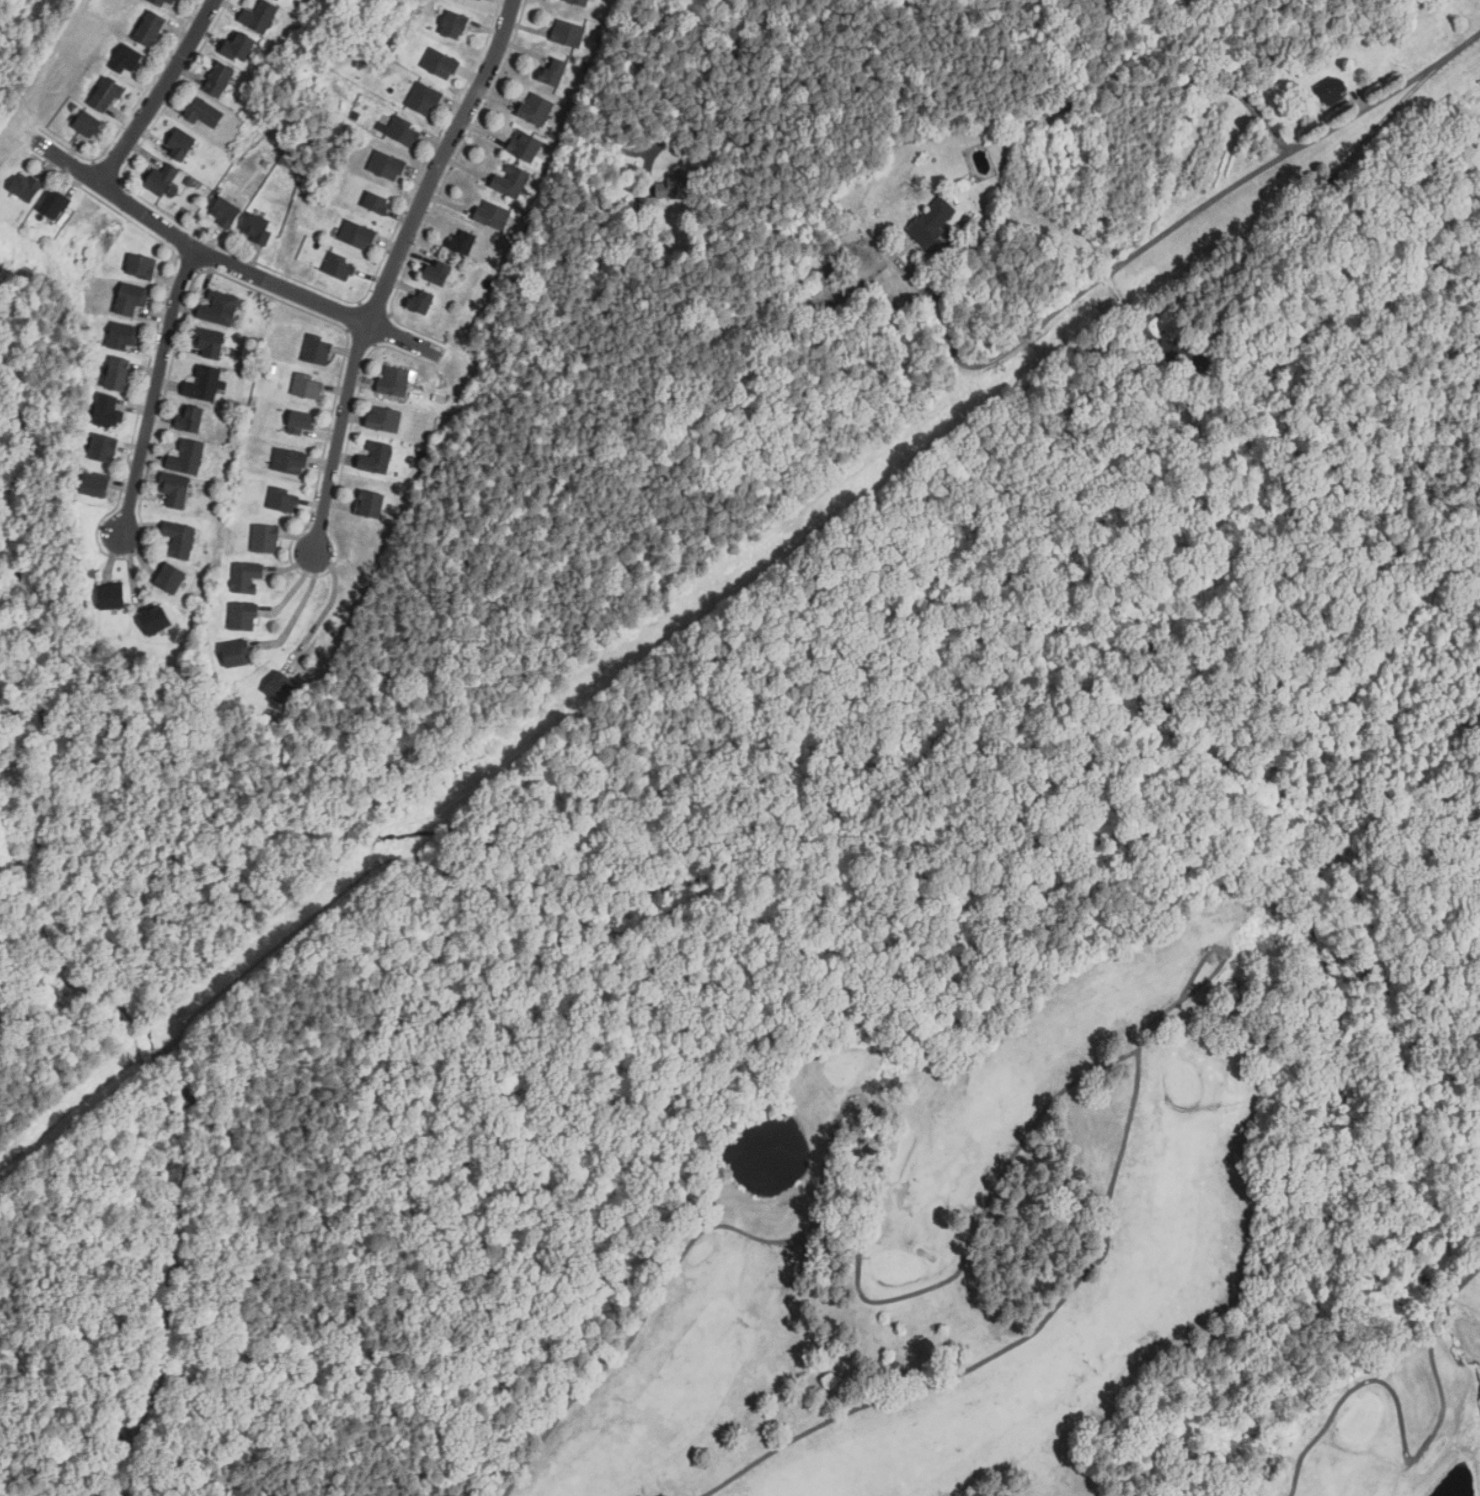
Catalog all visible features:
building: (277, 0)
building: (174, 1)
building: (160, 2)
building: (580, 2)
building: (259, 16)
building: (456, 24)
building: (152, 28)
building: (567, 33)
building: (240, 46)
building: (128, 59)
building: (440, 63)
building: (555, 71)
building: (220, 78)
building: (1331, 89)
building: (107, 94)
road: (162, 94)
building: (424, 98)
building: (536, 108)
building: (203, 112)
building: (89, 124)
road: (968, 125)
building: (404, 131)
building: (180, 144)
building: (525, 145)
building: (387, 165)
building: (163, 178)
building: (511, 180)
building: (676, 185)
building: (27, 187)
building: (378, 202)
building: (54, 203)
building: (225, 212)
building: (492, 214)
road: (1187, 216)
road: (1293, 219)
building: (934, 221)
building: (258, 228)
building: (358, 234)
building: (464, 241)
building: (142, 265)
building: (339, 266)
road: (395, 269)
road: (244, 271)
building: (438, 272)
building: (131, 298)
building: (422, 300)
building: (219, 308)
building: (124, 335)
building: (209, 342)
building: (317, 348)
building: (1183, 354)
building: (119, 373)
building: (395, 380)
building: (205, 383)
building: (308, 386)
road: (154, 391)
building: (108, 411)
building: (190, 418)
building: (384, 418)
building: (302, 422)
building: (104, 448)
building: (187, 457)
building: (376, 457)
building: (290, 460)
building: (95, 485)
building: (176, 489)
building: (283, 499)
building: (370, 503)
building: (180, 538)
building: (265, 538)
building: (246, 576)
building: (171, 577)
building: (112, 596)
road: (329, 604)
road: (300, 608)
building: (243, 616)
building: (156, 618)
building: (237, 652)
building: (281, 686)
road: (1221, 952)
road: (838, 1237)
park: (1021, 1246)
road: (1035, 1328)
road: (1405, 1453)

